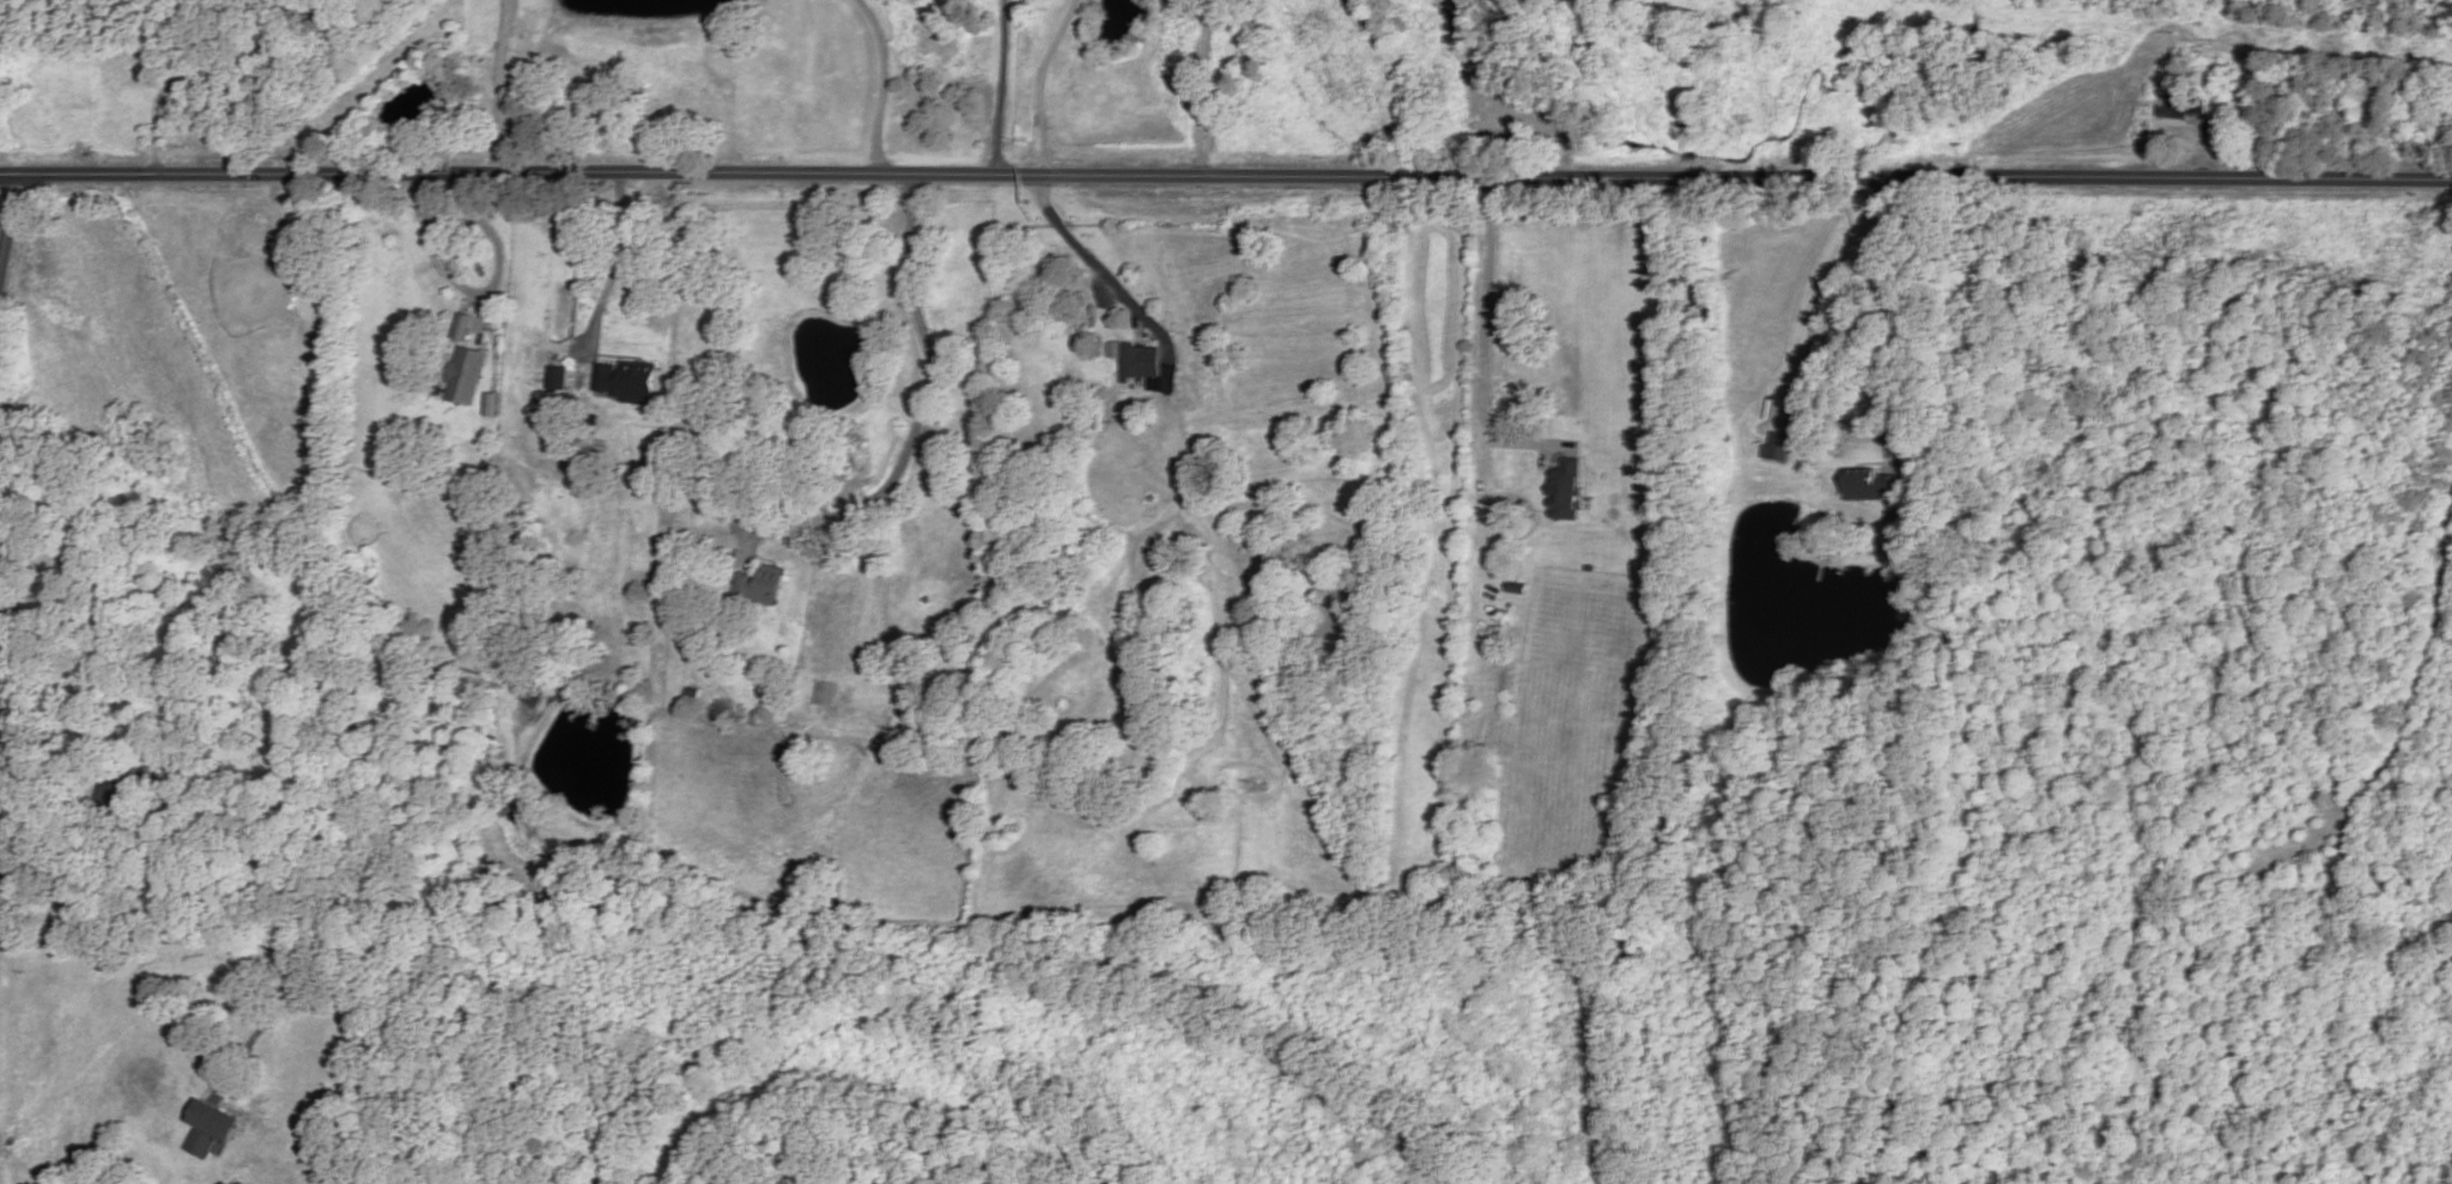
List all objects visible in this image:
road: (198, 74)
road: (884, 83)
road: (1039, 84)
road: (498, 85)
road: (1206, 86)
road: (1000, 87)
building: (2183, 107)
building: (2143, 129)
road: (1225, 175)
road: (8, 219)
road: (488, 233)
road: (445, 271)
road: (1104, 275)
road: (609, 280)
road: (1916, 320)
building: (1133, 362)
building: (467, 376)
building: (558, 377)
building: (626, 381)
road: (916, 423)
road: (1518, 438)
building: (1777, 445)
road: (1476, 465)
road: (1190, 469)
building: (1869, 485)
building: (1565, 488)
building: (1894, 520)
building: (1251, 534)
pier: (1817, 570)
building: (758, 587)
building: (852, 649)
building: (536, 691)
building: (693, 692)
building: (825, 692)
pier: (599, 715)
road: (50, 752)
building: (119, 801)
building: (208, 1129)

